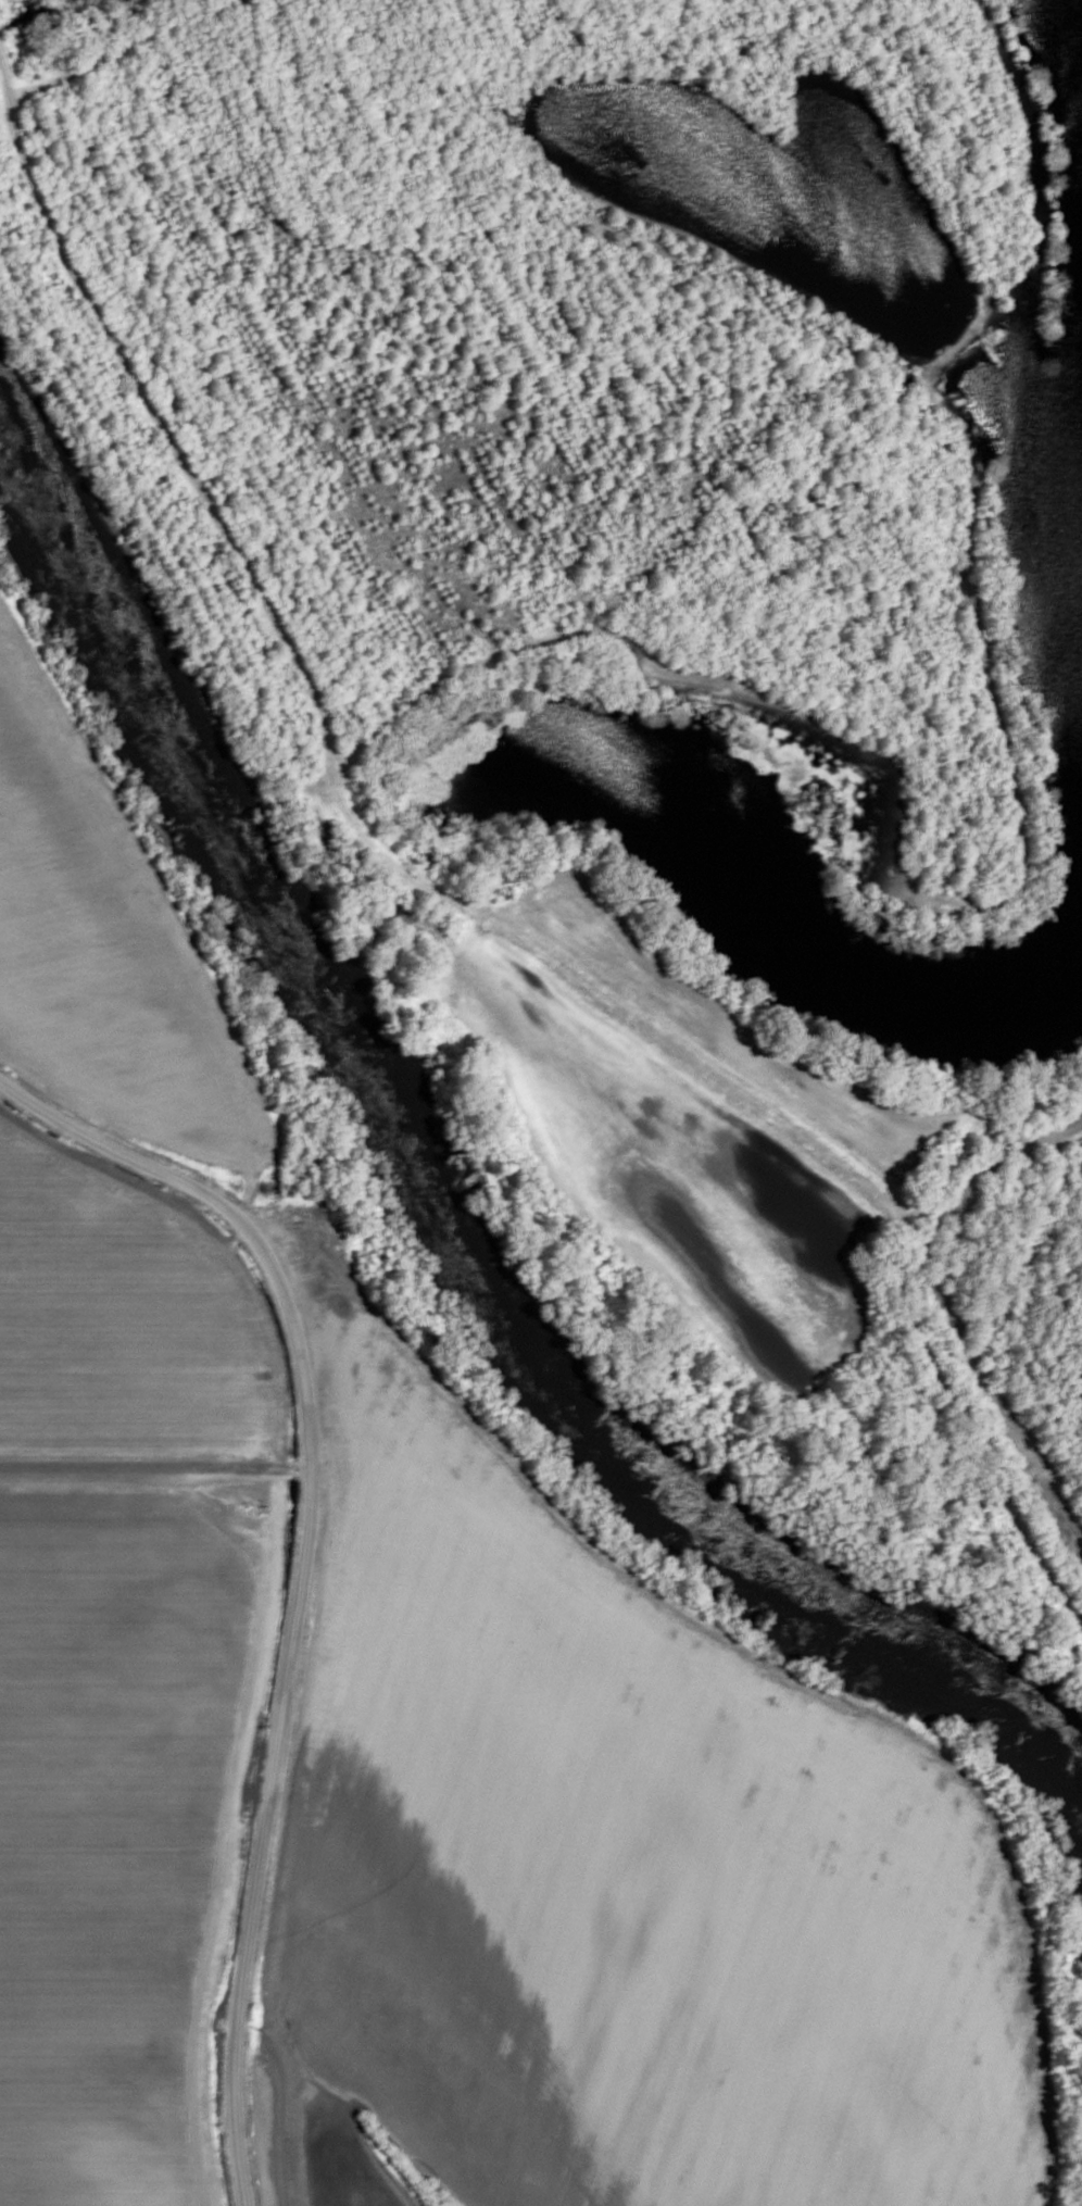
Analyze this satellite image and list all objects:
road: (1014, 1090)
river: (441, 1223)
road: (282, 1605)

